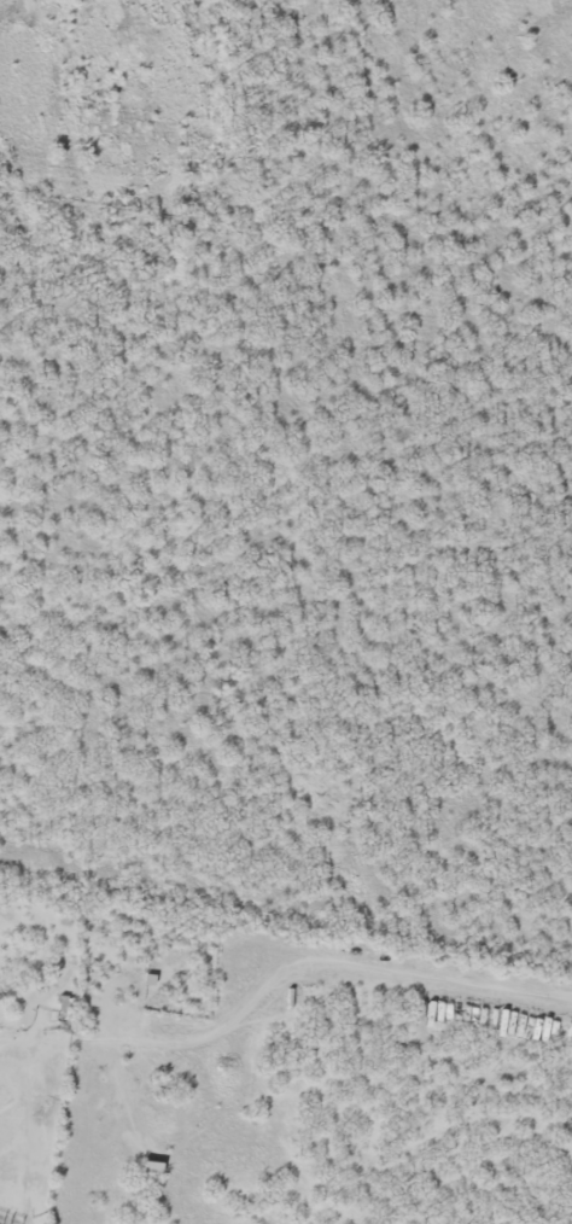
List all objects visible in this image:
building: (56, 1012)
building: (146, 1167)

